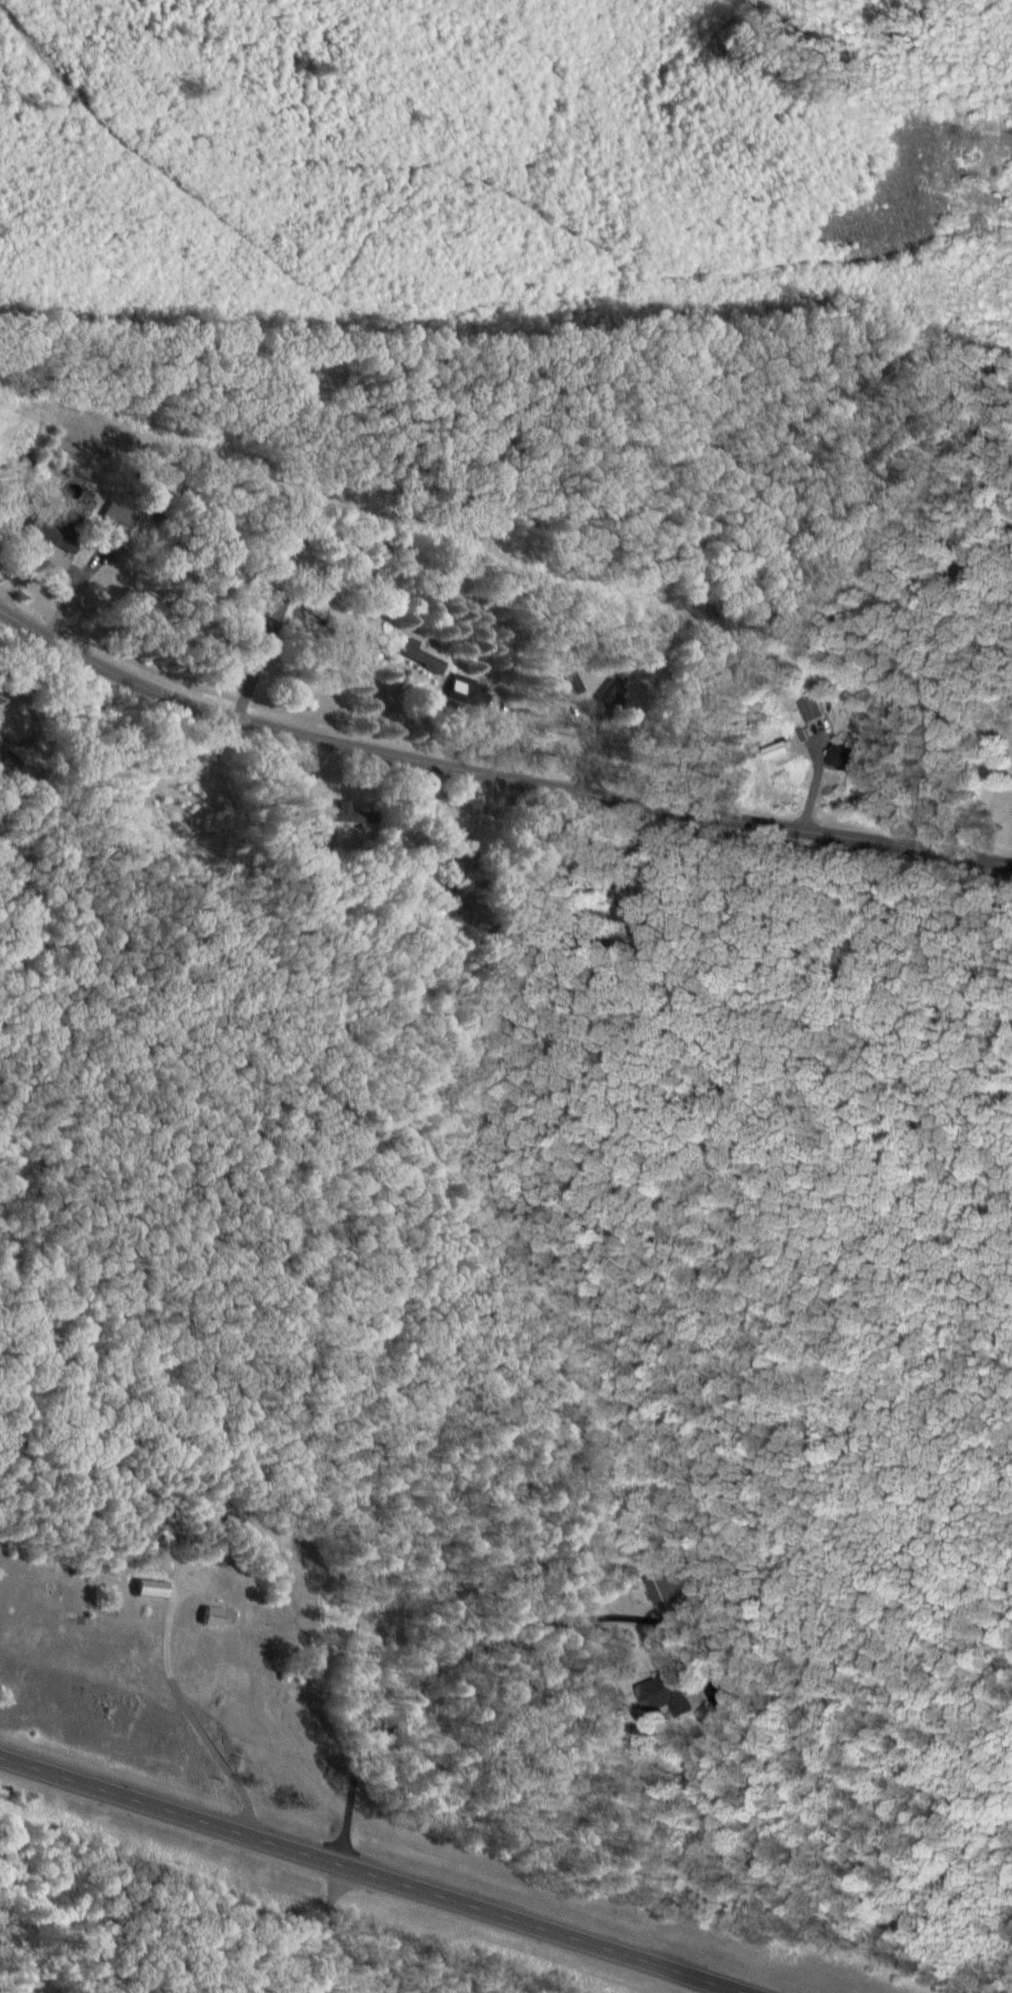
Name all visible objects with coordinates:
building: (261, 596)
building: (330, 618)
building: (418, 654)
building: (571, 683)
building: (812, 711)
building: (778, 750)
road: (492, 777)
building: (312, 832)
building: (666, 1693)
road: (375, 1873)

